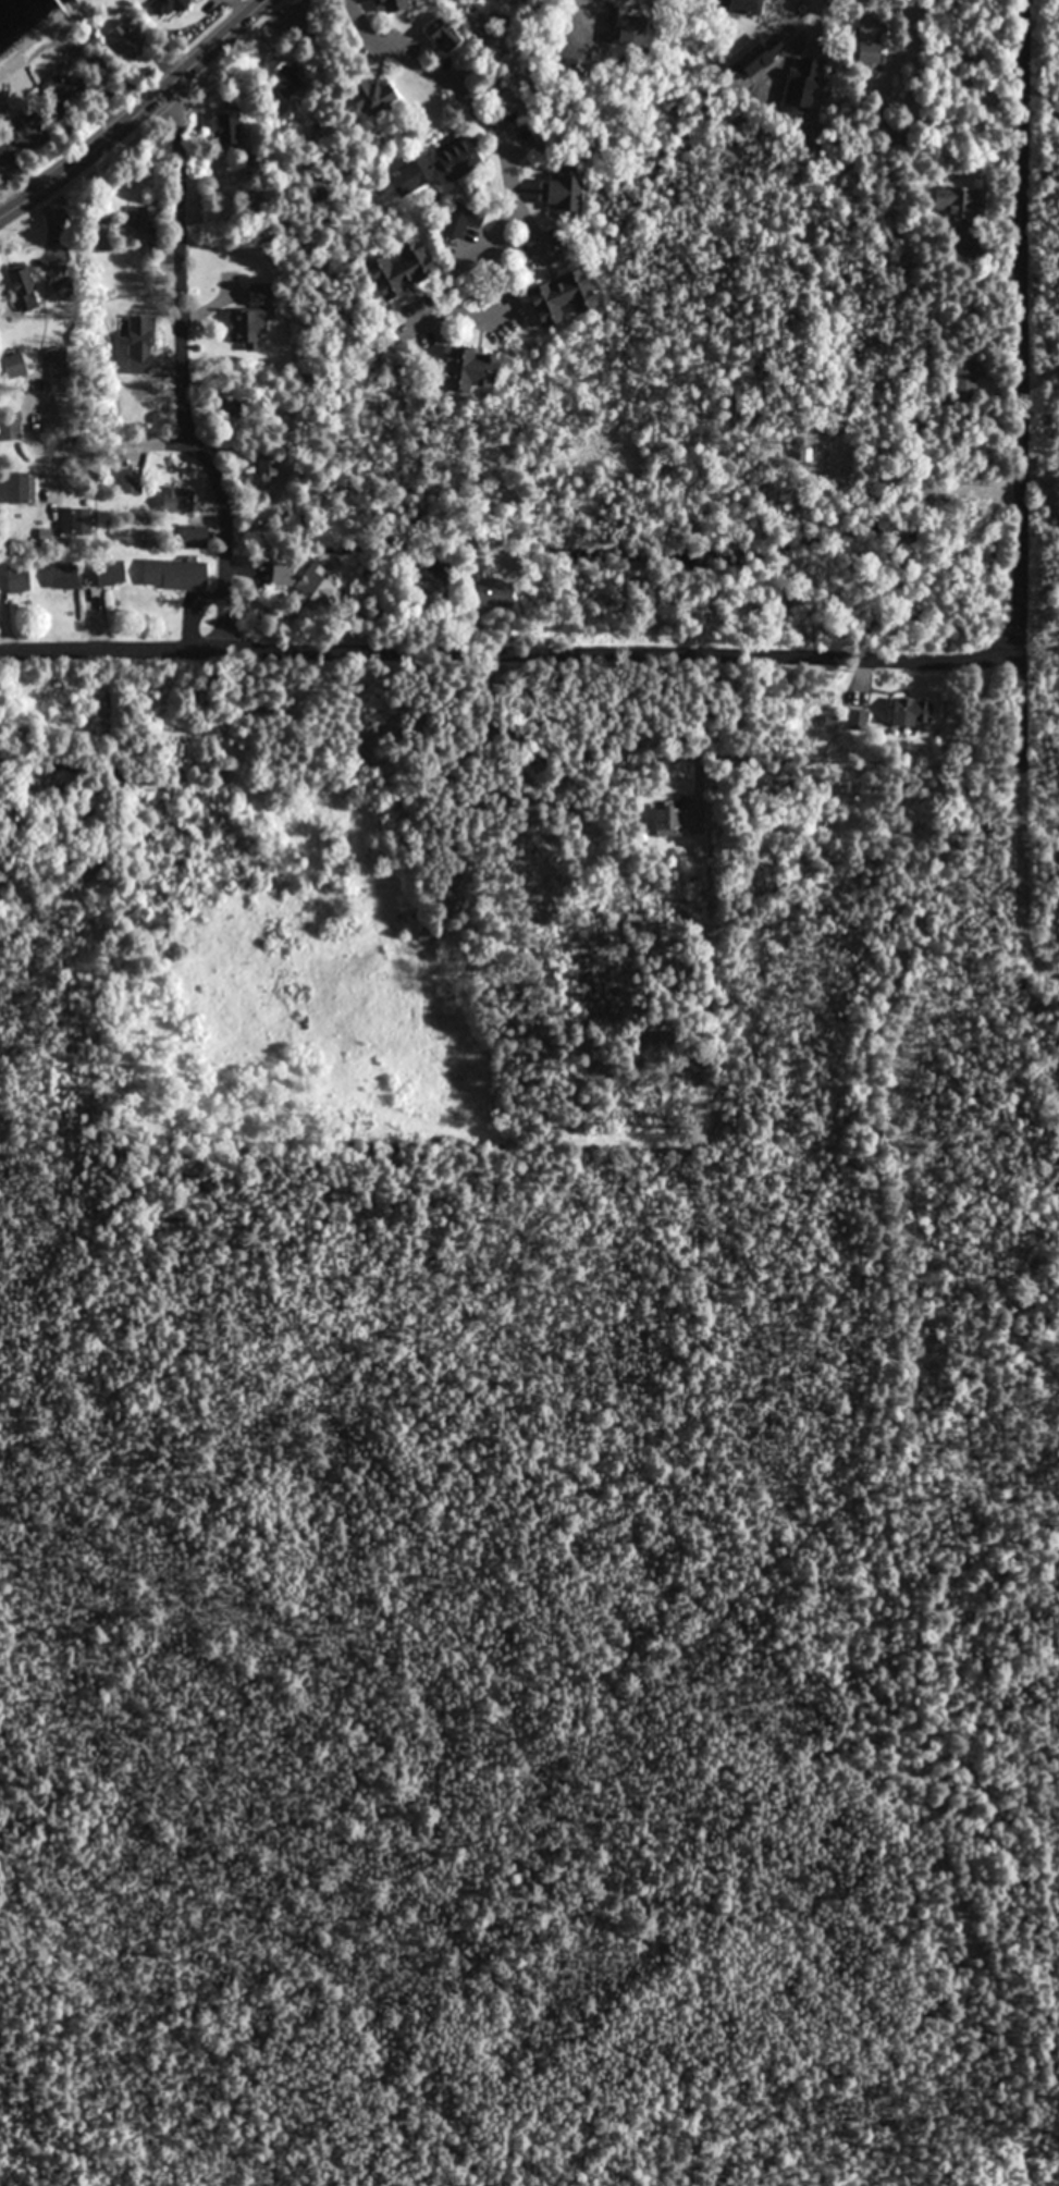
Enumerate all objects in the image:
building: (387, 7)
building: (434, 42)
building: (371, 95)
road: (487, 106)
road: (128, 107)
road: (1040, 110)
building: (224, 128)
building: (27, 137)
building: (431, 170)
building: (559, 196)
building: (138, 219)
building: (459, 224)
road: (178, 261)
building: (229, 270)
building: (393, 270)
building: (21, 290)
building: (559, 297)
building: (241, 324)
building: (12, 365)
building: (136, 365)
building: (466, 367)
road: (1040, 372)
building: (965, 381)
building: (10, 430)
road: (124, 446)
building: (130, 480)
road: (1020, 481)
building: (16, 488)
road: (1039, 491)
building: (174, 501)
building: (76, 521)
building: (194, 537)
road: (224, 537)
building: (110, 573)
building: (173, 574)
building: (62, 576)
building: (16, 582)
road: (505, 652)
building: (910, 712)
road: (1044, 970)

